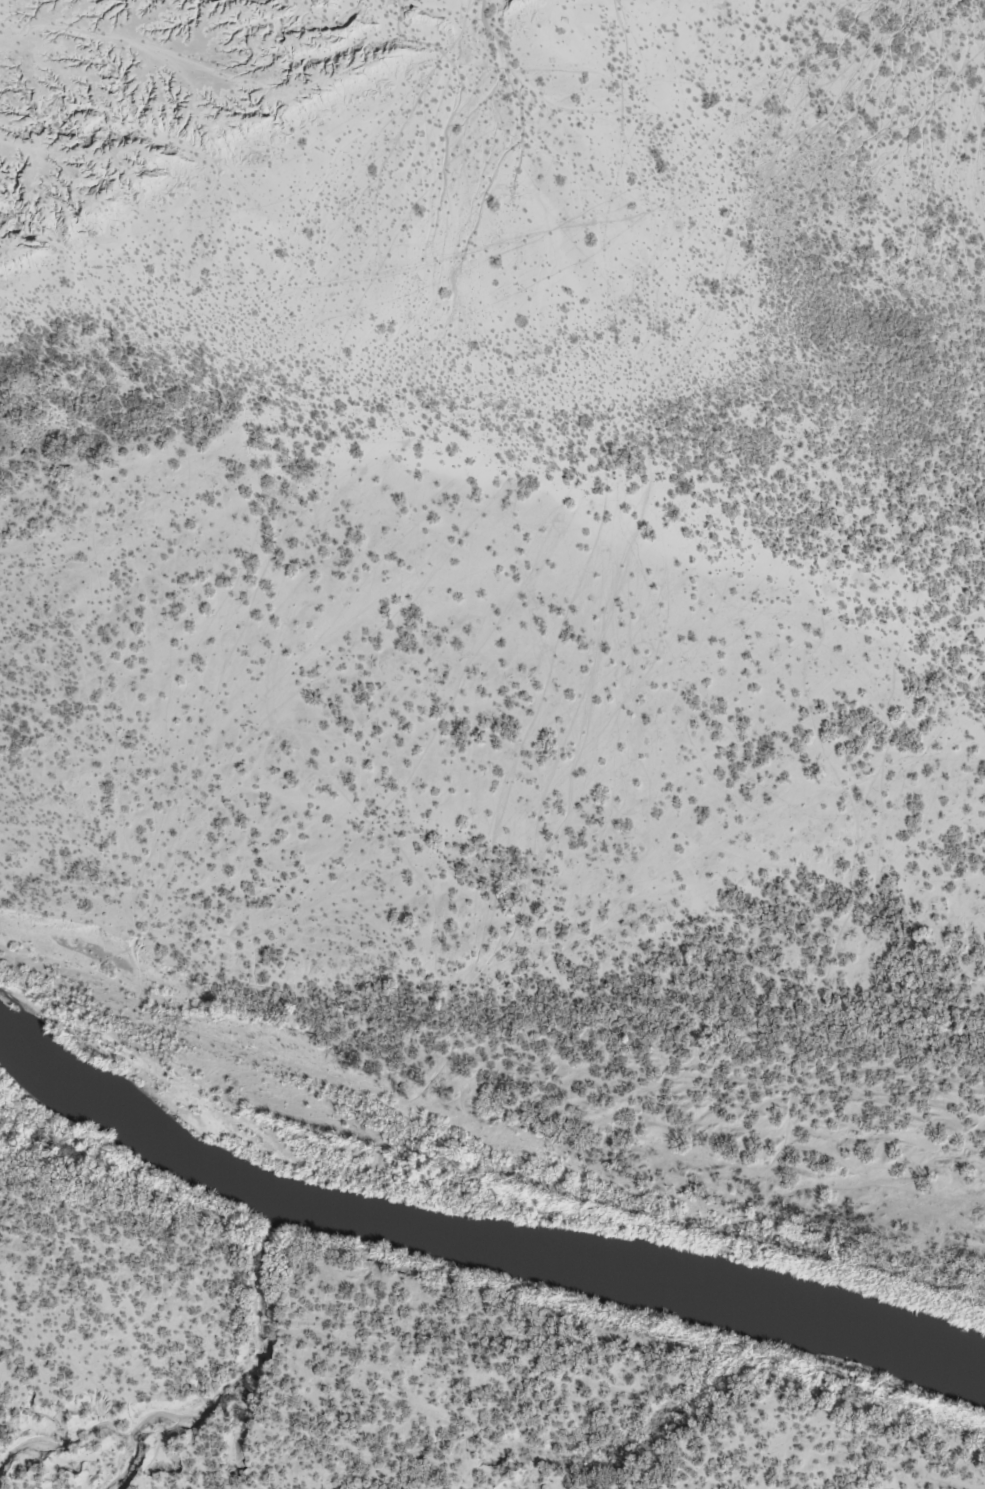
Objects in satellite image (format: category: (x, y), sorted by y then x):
river: (476, 1235)

